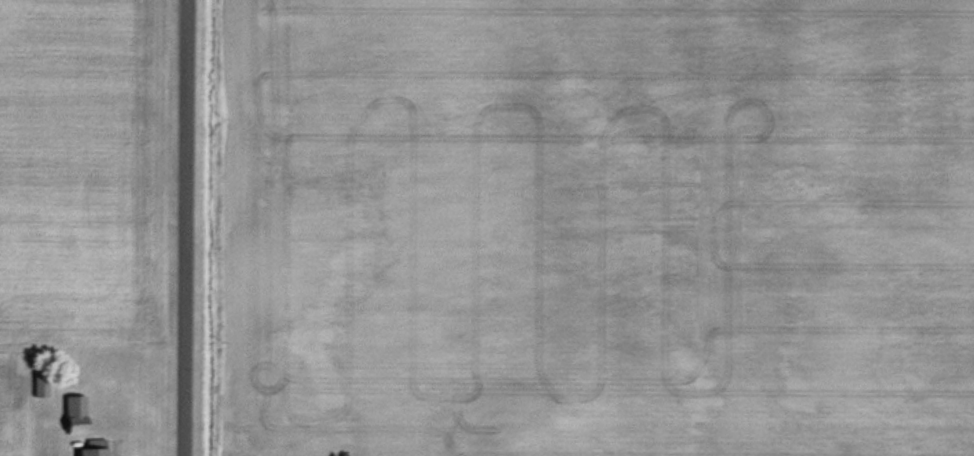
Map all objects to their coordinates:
road: (186, 228)
building: (40, 384)
building: (614, 388)
building: (74, 413)
building: (92, 448)

